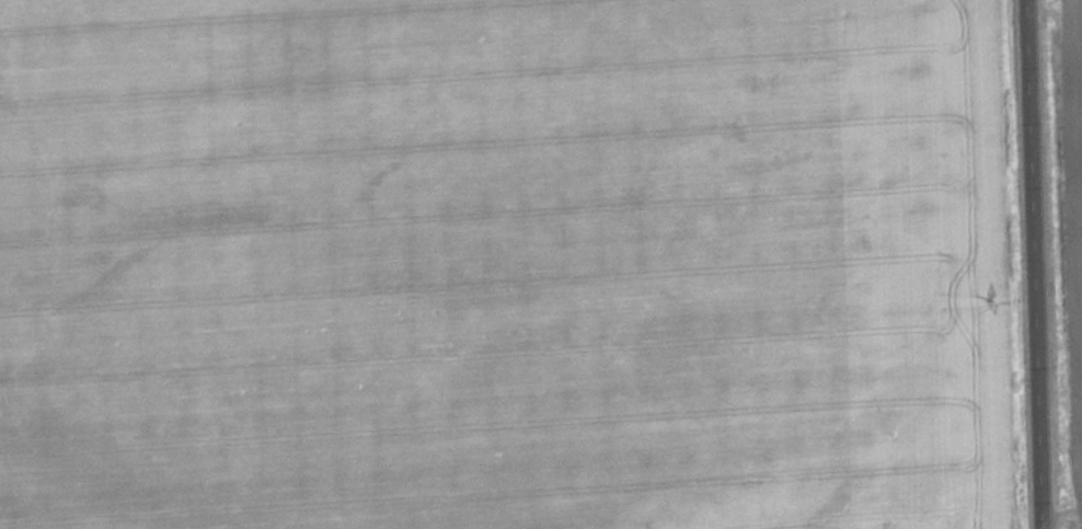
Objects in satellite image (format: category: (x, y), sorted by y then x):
road: (1041, 264)

